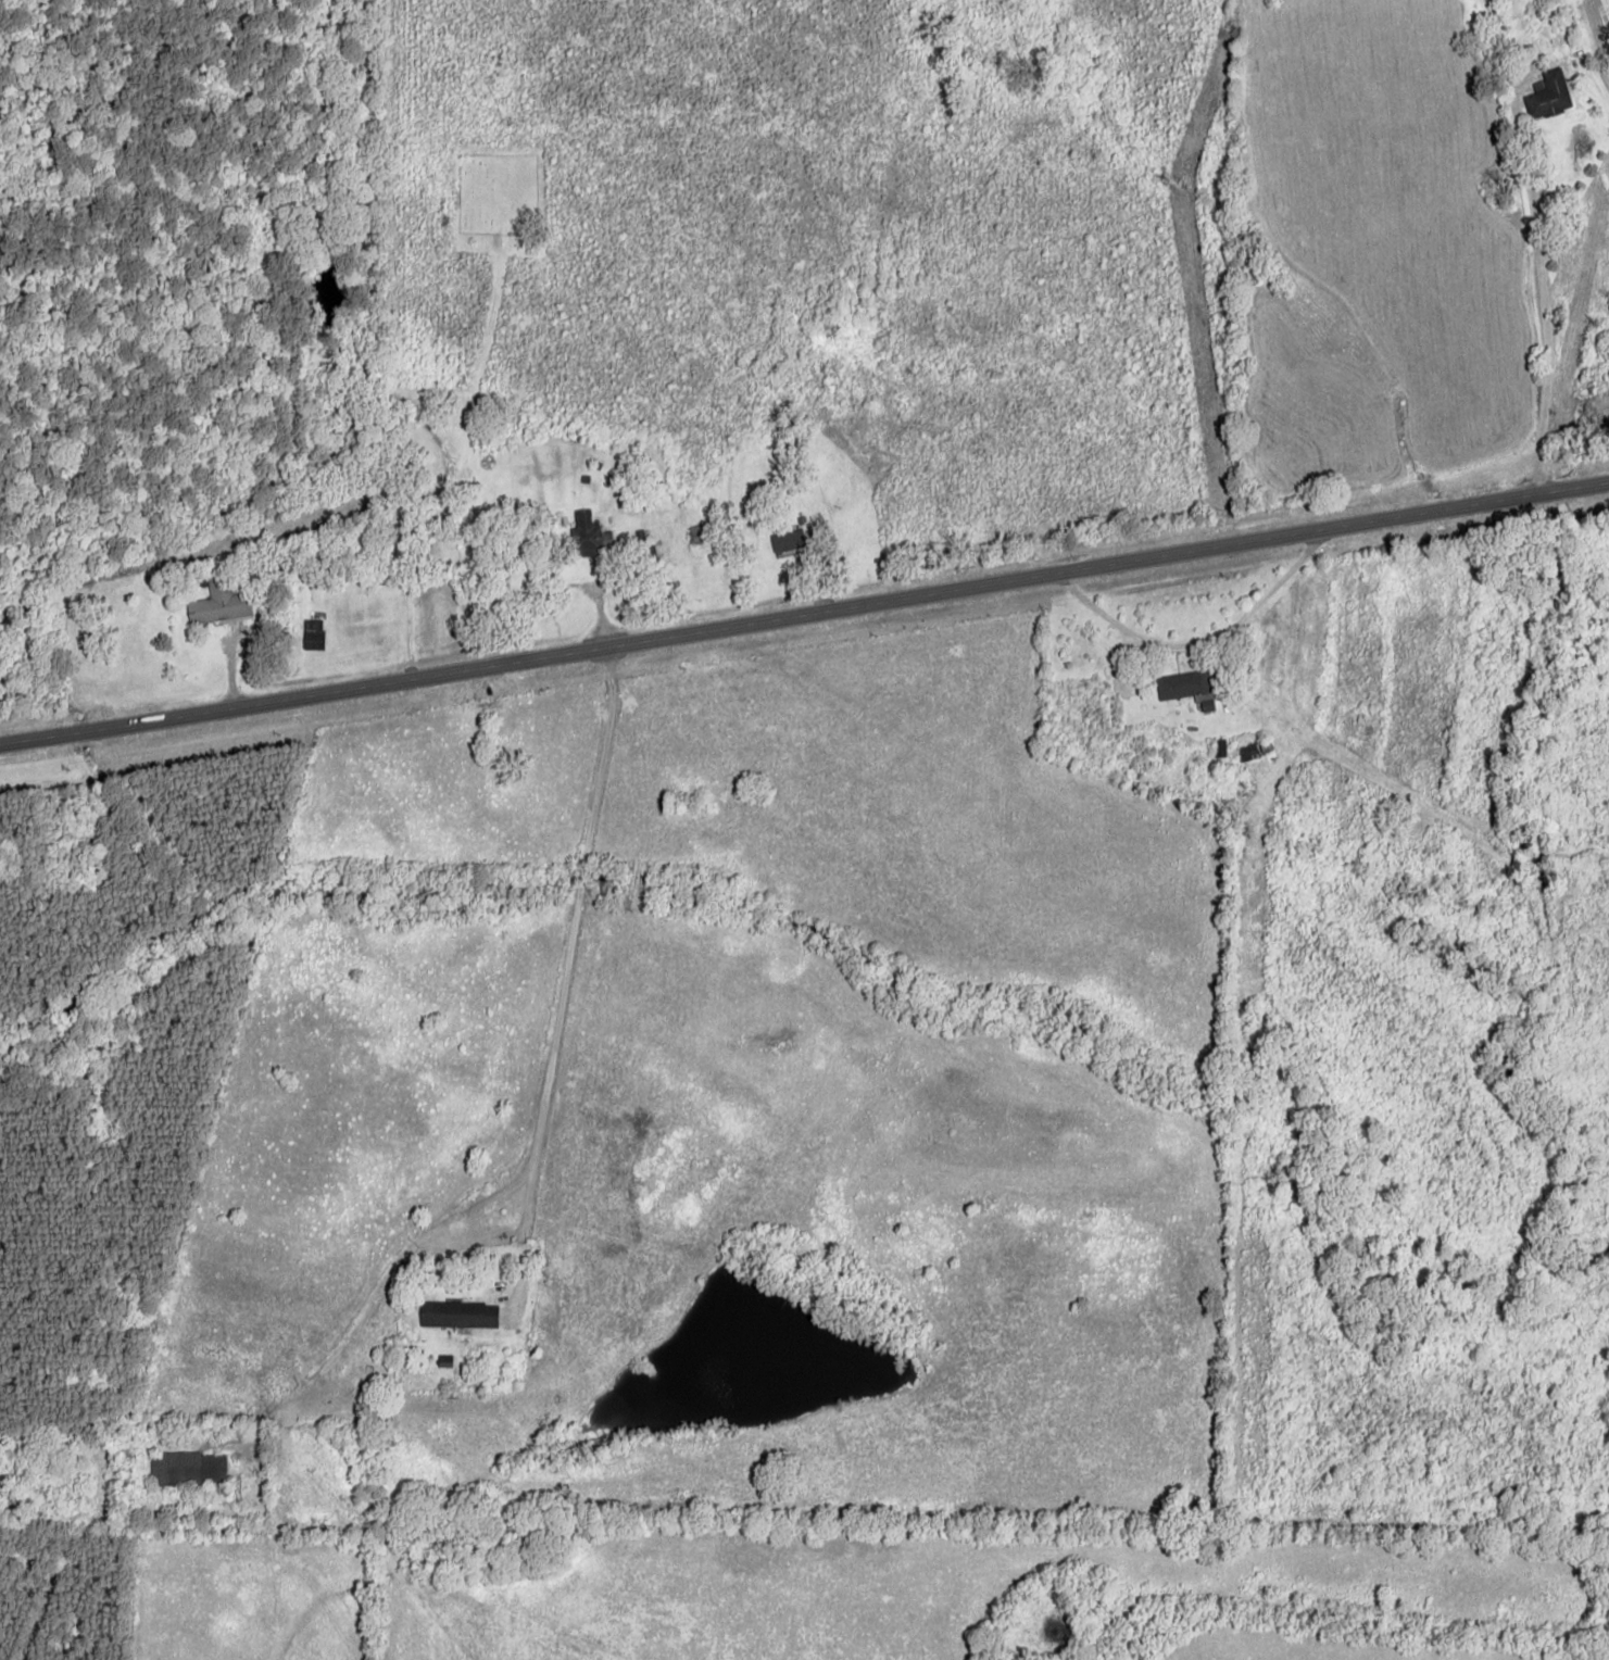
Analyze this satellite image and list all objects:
building: (1549, 93)
road: (1532, 243)
building: (590, 533)
building: (702, 533)
building: (788, 542)
building: (216, 602)
road: (804, 611)
building: (313, 636)
building: (1219, 749)
building: (1249, 752)
building: (457, 1315)
building: (190, 1468)

